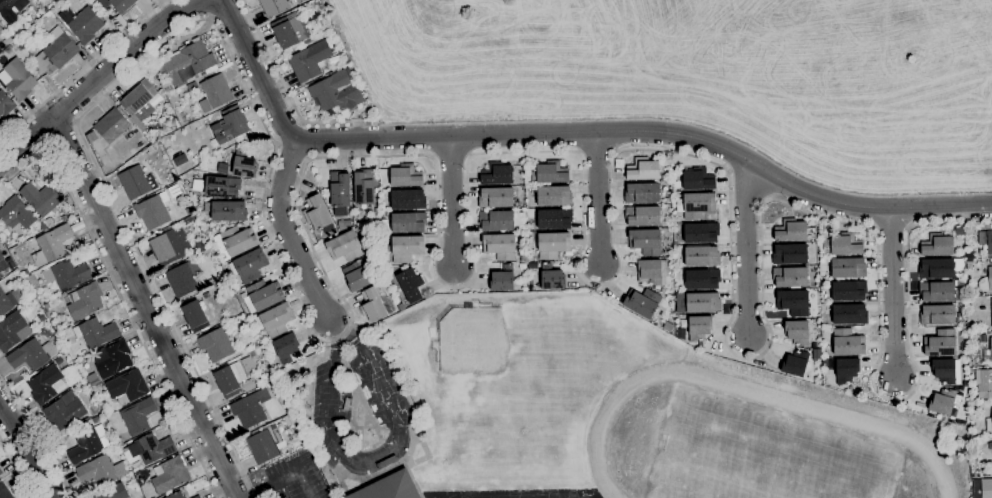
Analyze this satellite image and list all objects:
building: (299, 1)
building: (117, 5)
building: (273, 7)
road: (203, 9)
building: (11, 10)
building: (311, 18)
building: (81, 24)
building: (290, 31)
building: (1, 32)
building: (15, 34)
building: (7, 42)
building: (20, 47)
building: (55, 53)
building: (309, 61)
building: (186, 64)
road: (81, 69)
road: (97, 78)
building: (17, 80)
building: (192, 88)
building: (335, 93)
building: (214, 94)
road: (286, 95)
building: (140, 101)
building: (5, 105)
road: (301, 124)
building: (194, 125)
building: (111, 126)
building: (230, 126)
road: (298, 133)
road: (572, 133)
building: (91, 138)
road: (288, 142)
road: (278, 144)
building: (149, 149)
road: (301, 149)
road: (308, 159)
building: (244, 166)
building: (222, 169)
building: (642, 170)
building: (551, 173)
building: (496, 175)
building: (406, 177)
building: (698, 180)
building: (136, 183)
building: (197, 186)
building: (222, 187)
building: (364, 188)
building: (339, 190)
building: (641, 194)
building: (553, 197)
building: (495, 198)
building: (40, 199)
road: (598, 199)
building: (407, 200)
road: (452, 202)
building: (697, 206)
building: (153, 211)
building: (189, 211)
building: (226, 212)
road: (468, 212)
building: (16, 214)
building: (316, 214)
building: (642, 216)
building: (554, 219)
building: (496, 221)
building: (49, 223)
building: (408, 223)
building: (343, 225)
building: (827, 226)
building: (42, 227)
building: (986, 227)
building: (790, 231)
building: (701, 233)
road: (287, 234)
building: (986, 241)
building: (234, 242)
building: (645, 242)
building: (552, 245)
building: (842, 245)
building: (51, 246)
building: (170, 246)
building: (937, 246)
building: (344, 247)
building: (499, 247)
building: (406, 249)
road: (746, 250)
building: (789, 254)
building: (680, 256)
building: (701, 256)
building: (371, 257)
building: (991, 263)
building: (2, 264)
building: (975, 265)
building: (249, 266)
building: (532, 266)
building: (847, 268)
building: (935, 269)
building: (652, 272)
building: (24, 274)
building: (67, 275)
building: (356, 277)
building: (790, 277)
building: (551, 278)
building: (183, 279)
building: (502, 279)
building: (702, 279)
building: (986, 281)
building: (960, 283)
building: (32, 284)
building: (209, 284)
building: (410, 285)
building: (381, 287)
building: (848, 291)
building: (937, 292)
road: (118, 295)
building: (264, 295)
road: (894, 295)
building: (9, 301)
building: (84, 302)
building: (642, 303)
building: (703, 303)
building: (793, 303)
building: (372, 306)
building: (45, 307)
building: (401, 307)
road: (144, 308)
building: (991, 308)
building: (849, 315)
building: (194, 316)
building: (937, 316)
building: (42, 317)
building: (275, 320)
building: (668, 327)
building: (699, 328)
building: (10, 331)
building: (96, 333)
building: (797, 333)
building: (847, 343)
building: (940, 344)
building: (216, 345)
building: (284, 348)
building: (988, 353)
building: (965, 354)
building: (31, 355)
building: (113, 360)
building: (250, 360)
building: (825, 363)
park: (498, 364)
building: (795, 364)
park: (369, 368)
building: (846, 371)
building: (944, 372)
building: (231, 381)
park: (377, 384)
building: (966, 384)
building: (46, 385)
building: (985, 385)
building: (127, 386)
building: (96, 389)
park: (330, 393)
building: (281, 401)
park: (385, 401)
building: (942, 403)
building: (250, 409)
building: (64, 411)
park: (329, 411)
building: (991, 412)
building: (137, 417)
building: (95, 420)
building: (989, 425)
park: (396, 432)
track: (888, 433)
road: (37, 436)
building: (87, 444)
building: (989, 446)
building: (262, 447)
building: (153, 449)
road: (27, 452)
park: (339, 453)
park: (762, 455)
road: (374, 458)
park: (376, 459)
road: (17, 468)
building: (97, 471)
building: (1, 472)
building: (169, 476)
road: (283, 477)
building: (390, 488)
building: (986, 488)
road: (280, 489)
building: (4, 492)
building: (114, 492)
building: (176, 495)
park: (493, 496)
park: (548, 496)
building: (198, 497)

